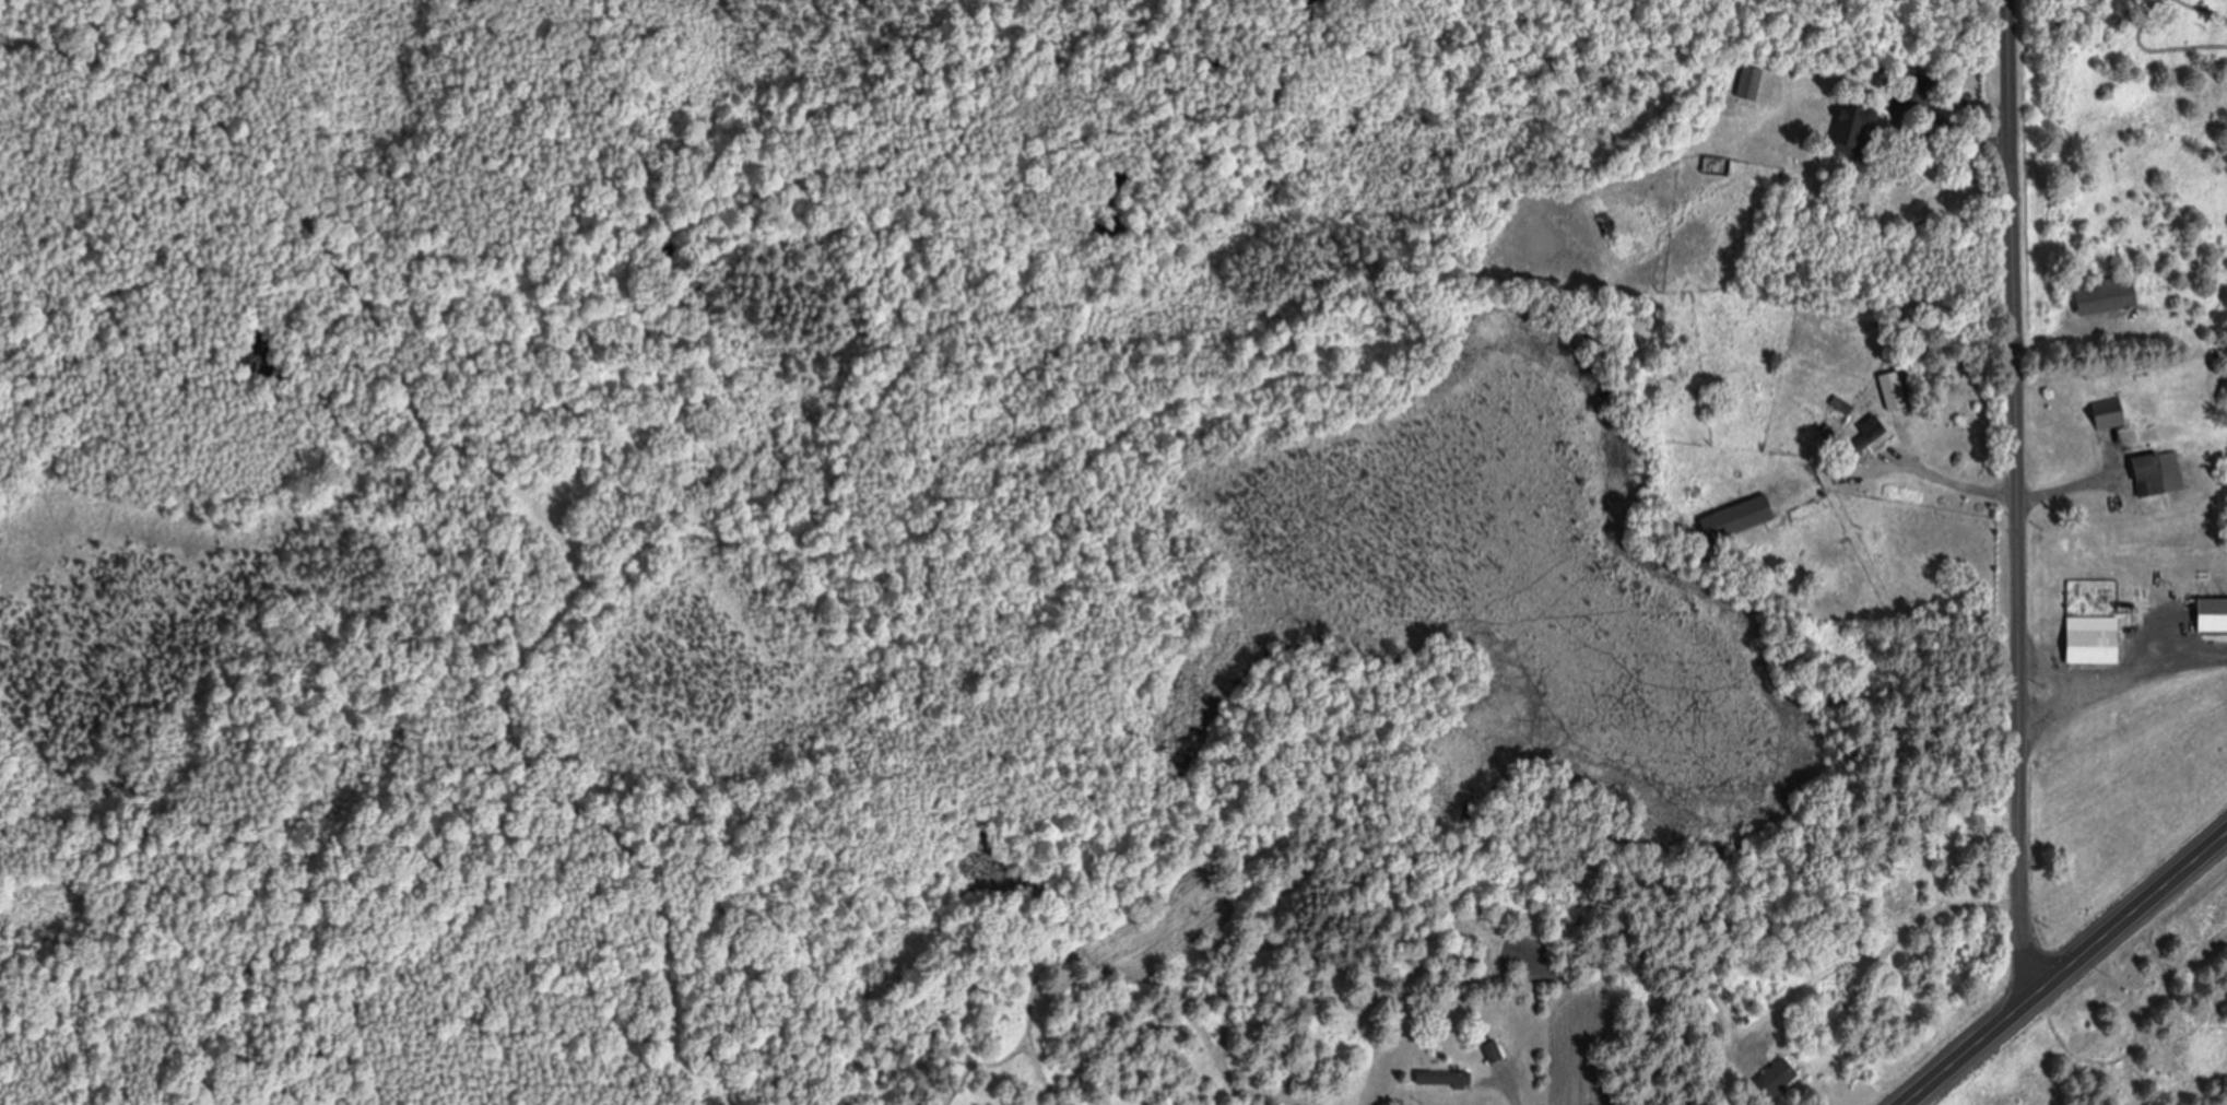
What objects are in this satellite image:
building: (1755, 80)
building: (1853, 120)
building: (1723, 163)
building: (2111, 292)
building: (2102, 414)
building: (1874, 431)
building: (2155, 472)
road: (2017, 496)
building: (1745, 516)
building: (2207, 614)
building: (2086, 645)
road: (2063, 968)
building: (1498, 1048)
building: (1783, 1073)
building: (1449, 1074)

